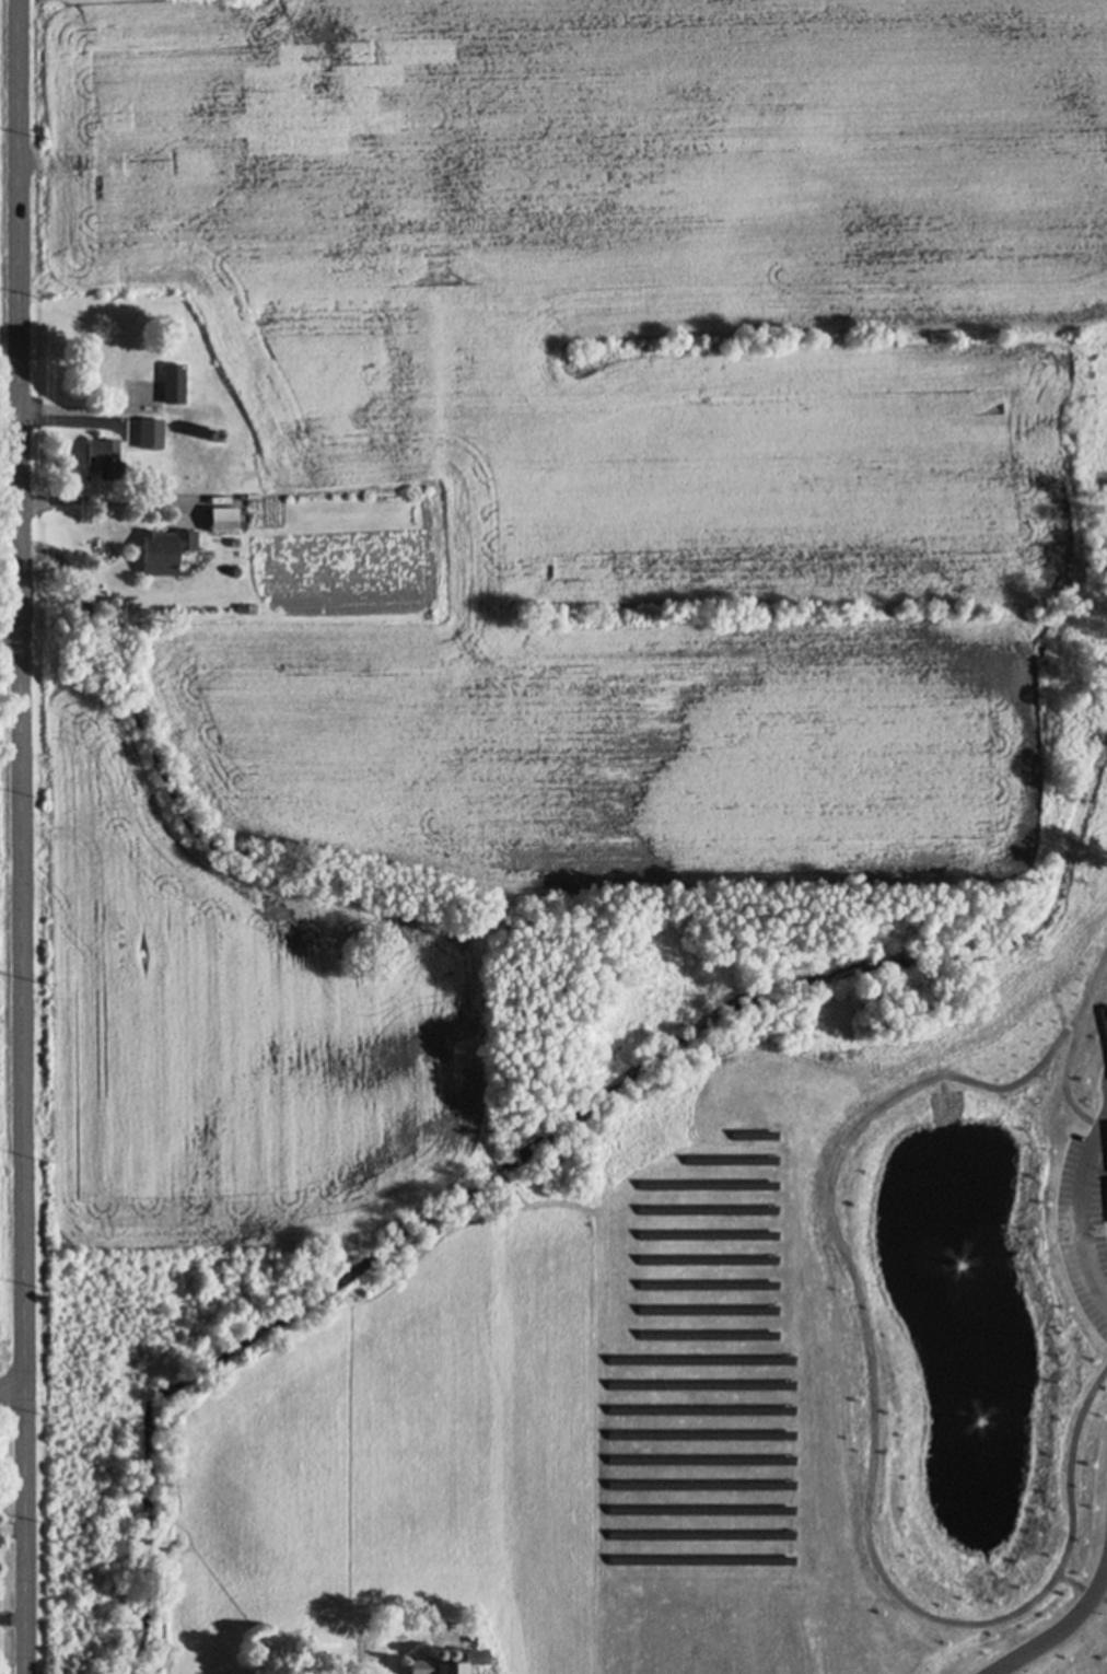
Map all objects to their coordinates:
building: (121, 365)
building: (174, 383)
building: (214, 407)
building: (308, 428)
building: (150, 432)
building: (217, 434)
building: (93, 450)
building: (108, 456)
road: (186, 458)
building: (156, 486)
building: (223, 518)
building: (165, 548)
building: (108, 549)
building: (84, 590)
building: (246, 605)
road: (21, 695)
crop: (8, 702)
road: (1085, 1208)
solar farm: (706, 1372)
road: (12, 1391)
road: (24, 1533)
road: (1054, 1632)
building: (433, 1652)
building: (446, 1652)
building: (448, 1662)

